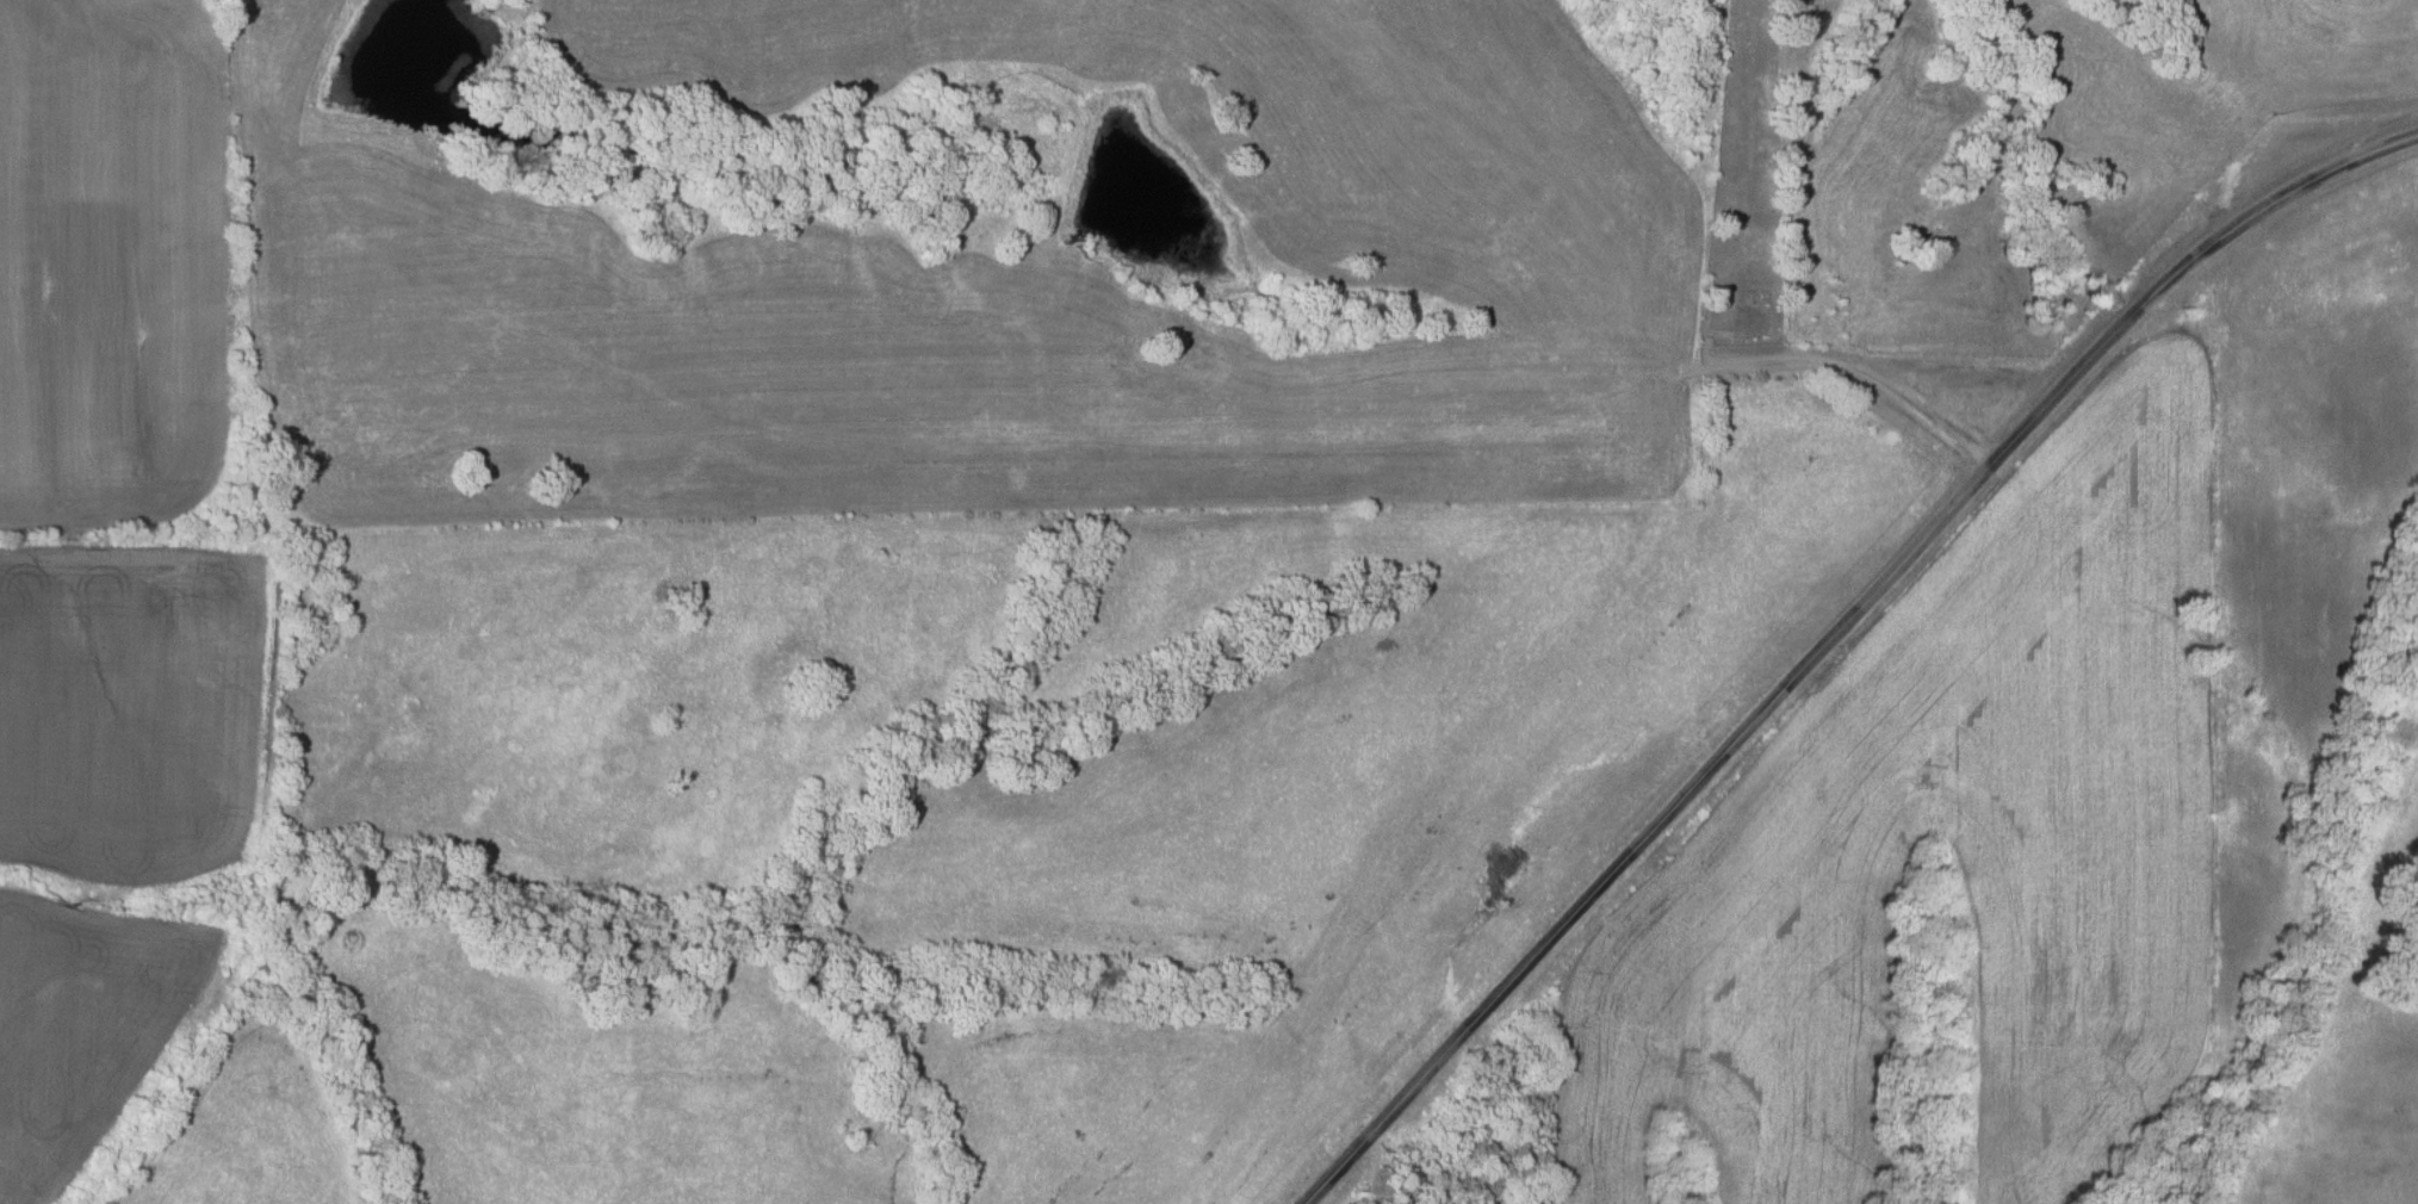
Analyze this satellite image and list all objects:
park: (1743, 186)
road: (1847, 370)
road: (1834, 634)

